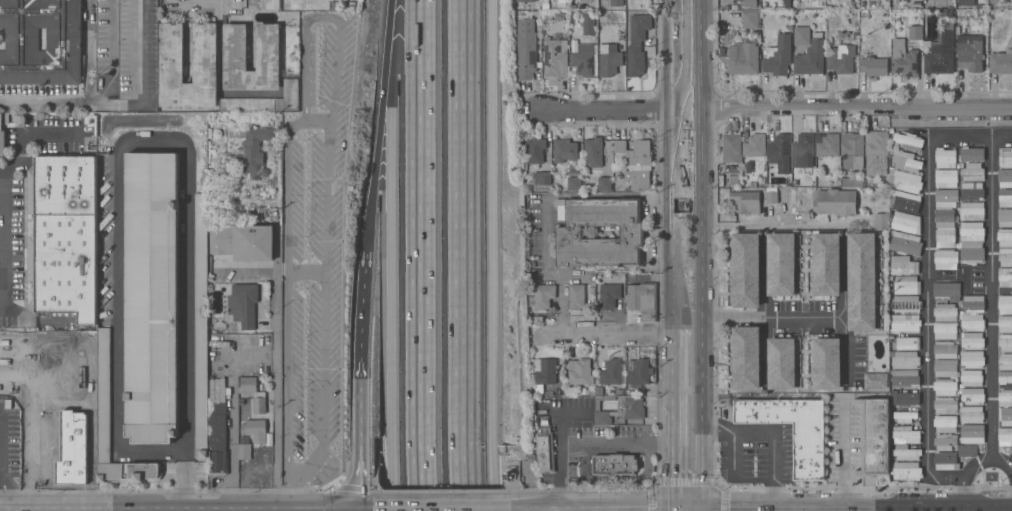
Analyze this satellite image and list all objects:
building: (526, 1)
building: (896, 2)
building: (617, 3)
building: (749, 3)
building: (966, 3)
building: (268, 4)
building: (604, 4)
building: (786, 4)
building: (862, 5)
building: (871, 5)
building: (916, 5)
road: (218, 6)
building: (734, 7)
building: (951, 14)
building: (864, 17)
building: (750, 20)
building: (589, 25)
road: (387, 26)
road: (674, 29)
building: (915, 33)
building: (801, 36)
building: (40, 42)
building: (637, 45)
building: (235, 47)
building: (526, 48)
building: (608, 50)
building: (940, 51)
building: (969, 52)
building: (171, 53)
road: (109, 55)
road: (700, 56)
building: (778, 56)
building: (841, 56)
building: (555, 57)
building: (810, 57)
building: (583, 58)
building: (743, 58)
building: (903, 59)
road: (304, 61)
building: (1001, 62)
building: (873, 66)
road: (142, 80)
road: (675, 85)
road: (88, 96)
building: (250, 105)
road: (775, 111)
road: (971, 135)
building: (2, 139)
road: (23, 139)
building: (908, 141)
building: (754, 146)
building: (828, 146)
building: (730, 147)
building: (535, 150)
building: (564, 150)
building: (593, 151)
building: (803, 151)
building: (852, 151)
building: (252, 152)
road: (375, 152)
building: (779, 152)
building: (876, 153)
road: (700, 154)
building: (971, 154)
building: (945, 158)
building: (1005, 159)
building: (905, 161)
building: (961, 164)
building: (634, 165)
building: (972, 173)
building: (946, 178)
building: (1004, 178)
building: (543, 181)
building: (761, 181)
building: (564, 182)
building: (852, 182)
building: (906, 182)
building: (573, 183)
building: (794, 183)
building: (819, 183)
building: (604, 184)
building: (768, 190)
building: (971, 191)
building: (763, 198)
building: (771, 198)
building: (946, 198)
building: (1005, 198)
building: (746, 201)
building: (835, 202)
building: (903, 204)
building: (971, 211)
building: (560, 213)
building: (1005, 217)
building: (944, 218)
building: (881, 221)
building: (906, 223)
road: (673, 224)
road: (784, 226)
building: (971, 232)
building: (568, 233)
building: (64, 236)
road: (325, 236)
building: (1004, 237)
building: (945, 238)
building: (243, 242)
building: (905, 243)
parking lot: (315, 246)
building: (972, 252)
road: (423, 255)
road: (469, 255)
road: (492, 255)
building: (1005, 257)
building: (946, 259)
building: (782, 264)
building: (825, 264)
building: (903, 265)
building: (745, 270)
building: (1005, 277)
road: (392, 281)
building: (862, 282)
building: (906, 285)
building: (946, 291)
road: (289, 296)
building: (540, 296)
building: (609, 296)
building: (152, 297)
building: (576, 297)
road: (990, 298)
road: (118, 299)
road: (186, 299)
building: (642, 300)
building: (243, 304)
building: (906, 304)
building: (973, 304)
building: (1005, 305)
road: (362, 307)
building: (945, 312)
road: (803, 319)
building: (971, 321)
road: (927, 323)
building: (904, 324)
building: (1005, 324)
building: (201, 327)
building: (945, 331)
road: (609, 336)
building: (972, 341)
building: (1005, 342)
building: (907, 343)
road: (701, 349)
building: (945, 350)
building: (745, 358)
building: (905, 359)
building: (972, 359)
building: (1005, 362)
building: (782, 363)
building: (826, 363)
building: (945, 368)
road: (276, 369)
building: (580, 372)
building: (611, 372)
building: (544, 373)
building: (638, 373)
building: (971, 378)
building: (1004, 378)
road: (33, 379)
building: (904, 379)
building: (875, 381)
road: (91, 382)
building: (945, 387)
building: (216, 390)
building: (557, 392)
building: (616, 392)
building: (591, 393)
building: (254, 394)
building: (551, 395)
building: (104, 396)
building: (972, 396)
building: (1005, 398)
building: (902, 399)
building: (596, 405)
building: (945, 405)
building: (630, 407)
building: (971, 414)
building: (1005, 416)
building: (904, 417)
building: (602, 418)
road: (671, 423)
building: (945, 424)
building: (255, 430)
road: (772, 430)
building: (971, 434)
building: (905, 435)
road: (357, 436)
building: (1005, 436)
building: (874, 437)
building: (217, 439)
building: (945, 442)
road: (376, 443)
road: (591, 444)
road: (29, 445)
building: (72, 448)
road: (841, 449)
building: (967, 450)
building: (244, 451)
building: (545, 451)
building: (809, 451)
building: (945, 461)
road: (1, 462)
road: (310, 463)
building: (905, 463)
road: (503, 464)
road: (977, 464)
building: (614, 465)
road: (503, 478)
road: (562, 478)
road: (187, 480)
road: (615, 480)
road: (1, 482)
road: (291, 482)
road: (376, 485)
road: (343, 486)
road: (509, 486)
road: (518, 486)
road: (613, 490)
road: (442, 491)
road: (652, 497)
road: (722, 497)
road: (915, 501)
road: (768, 502)
road: (1004, 502)
traffic signals: (702, 503)
road: (996, 506)
road: (693, 507)
road: (702, 507)

